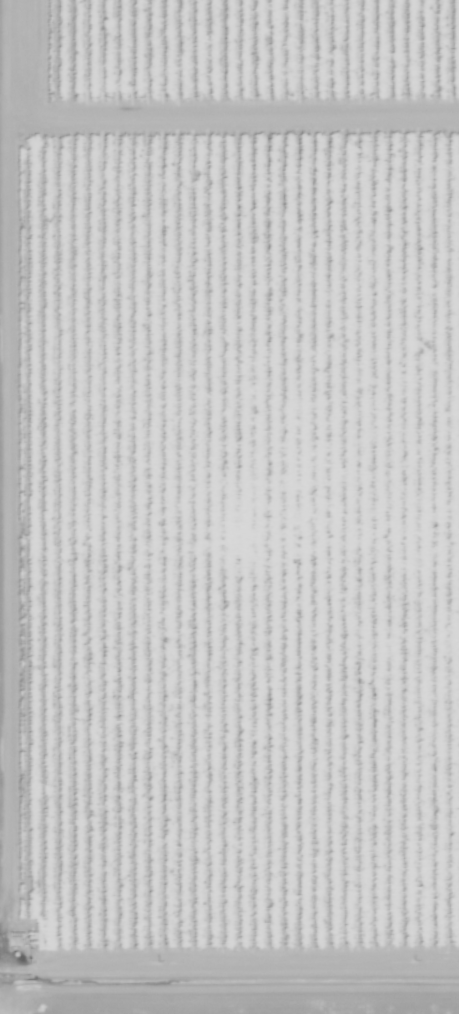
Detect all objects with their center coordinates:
road: (229, 978)
crop: (231, 1000)
crop: (0, 1005)

